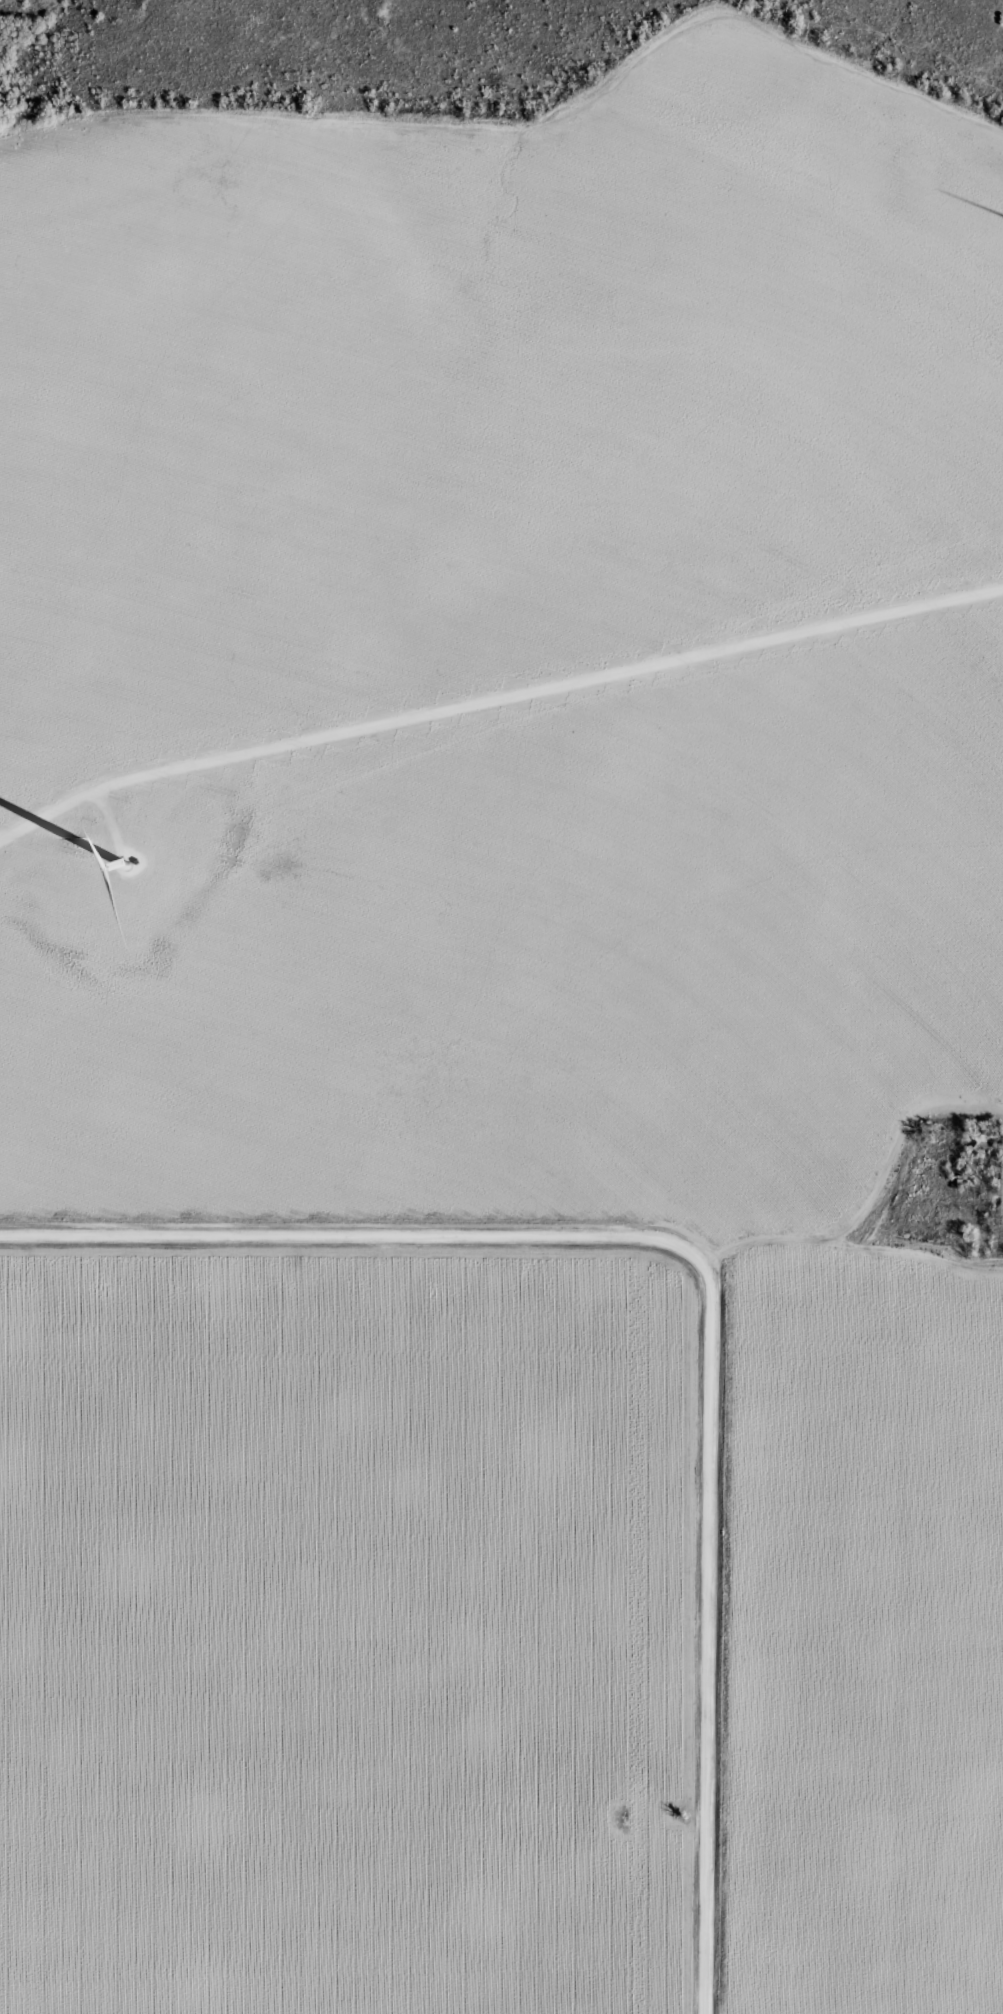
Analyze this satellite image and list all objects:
wind turbine: (135, 864)
road: (376, 1235)
road: (713, 1658)

